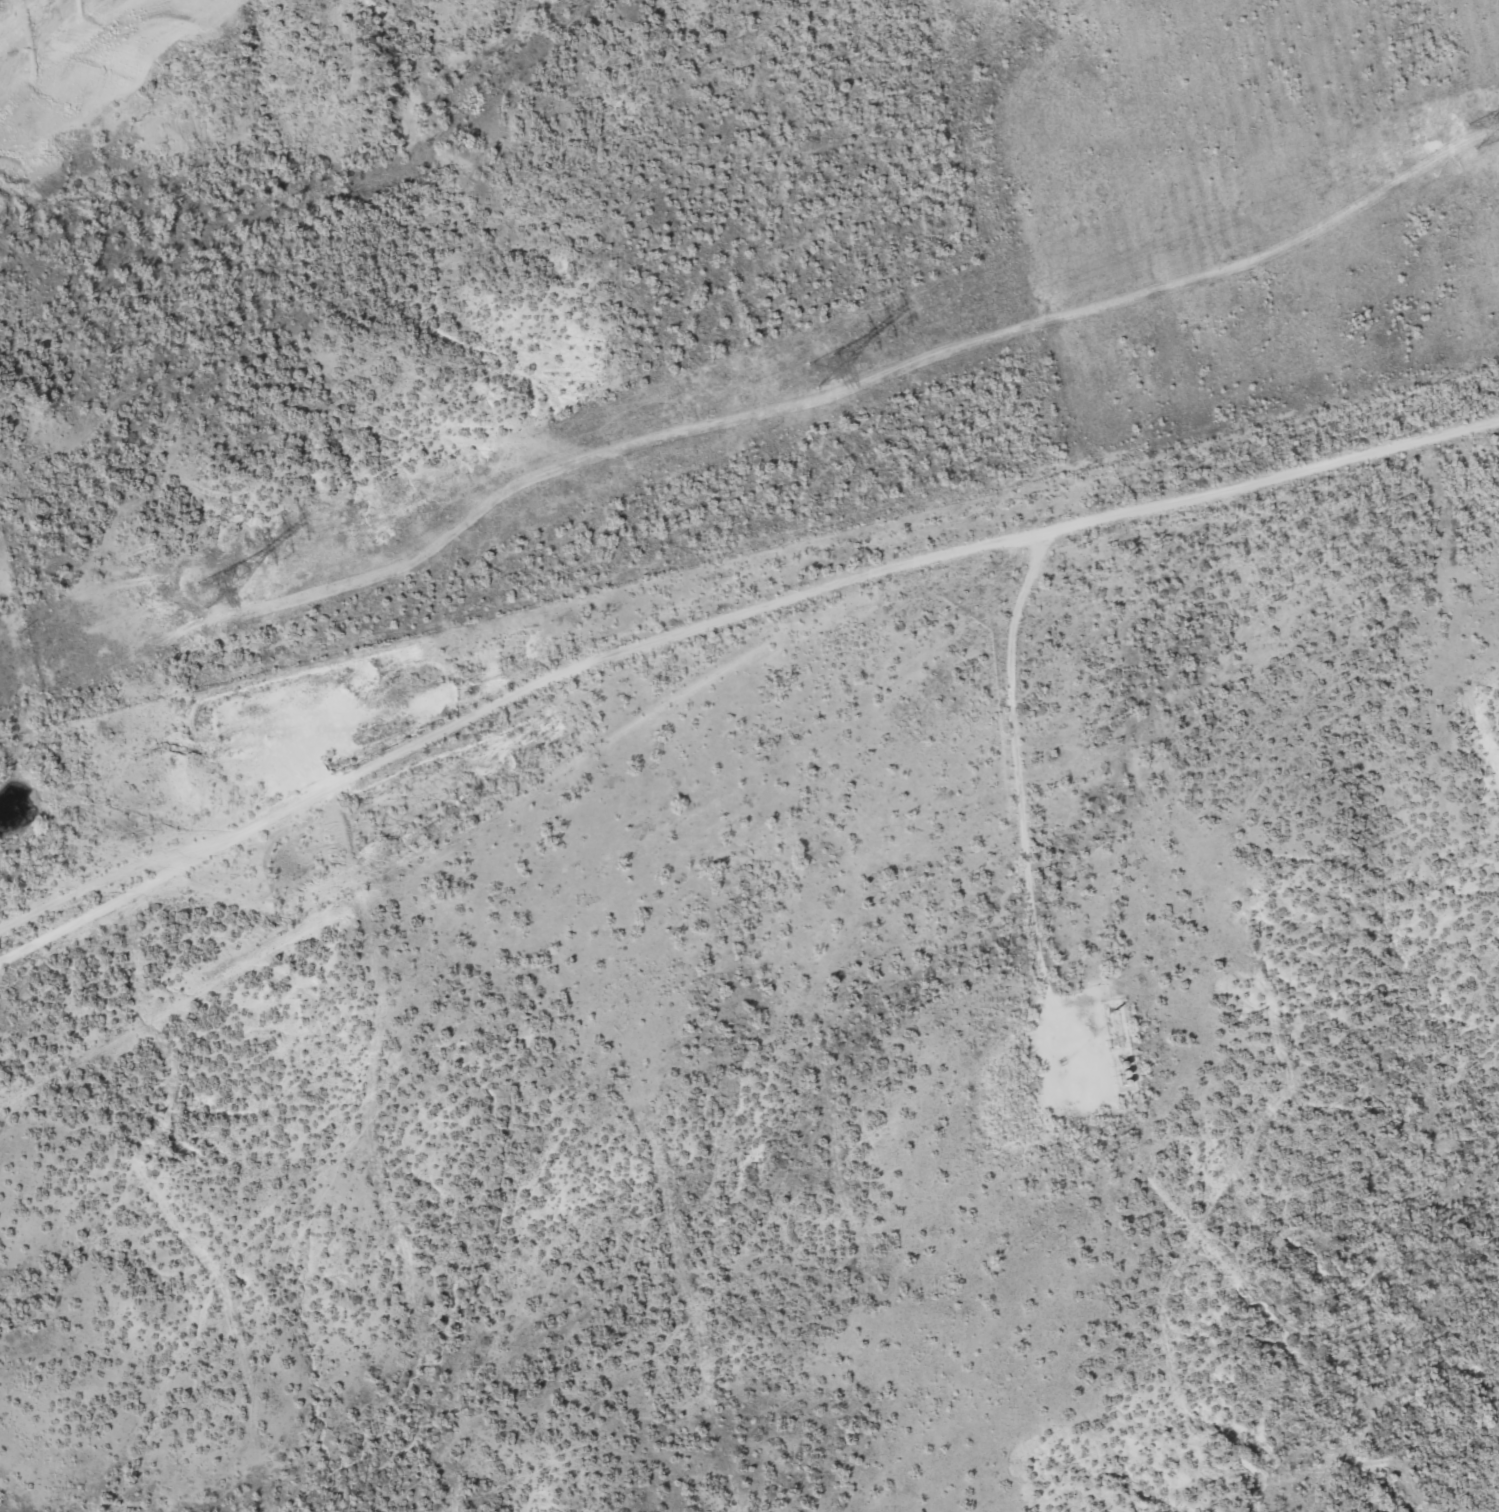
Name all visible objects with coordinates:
power tower: (1486, 132)
power tower: (823, 371)
power tower: (216, 591)

